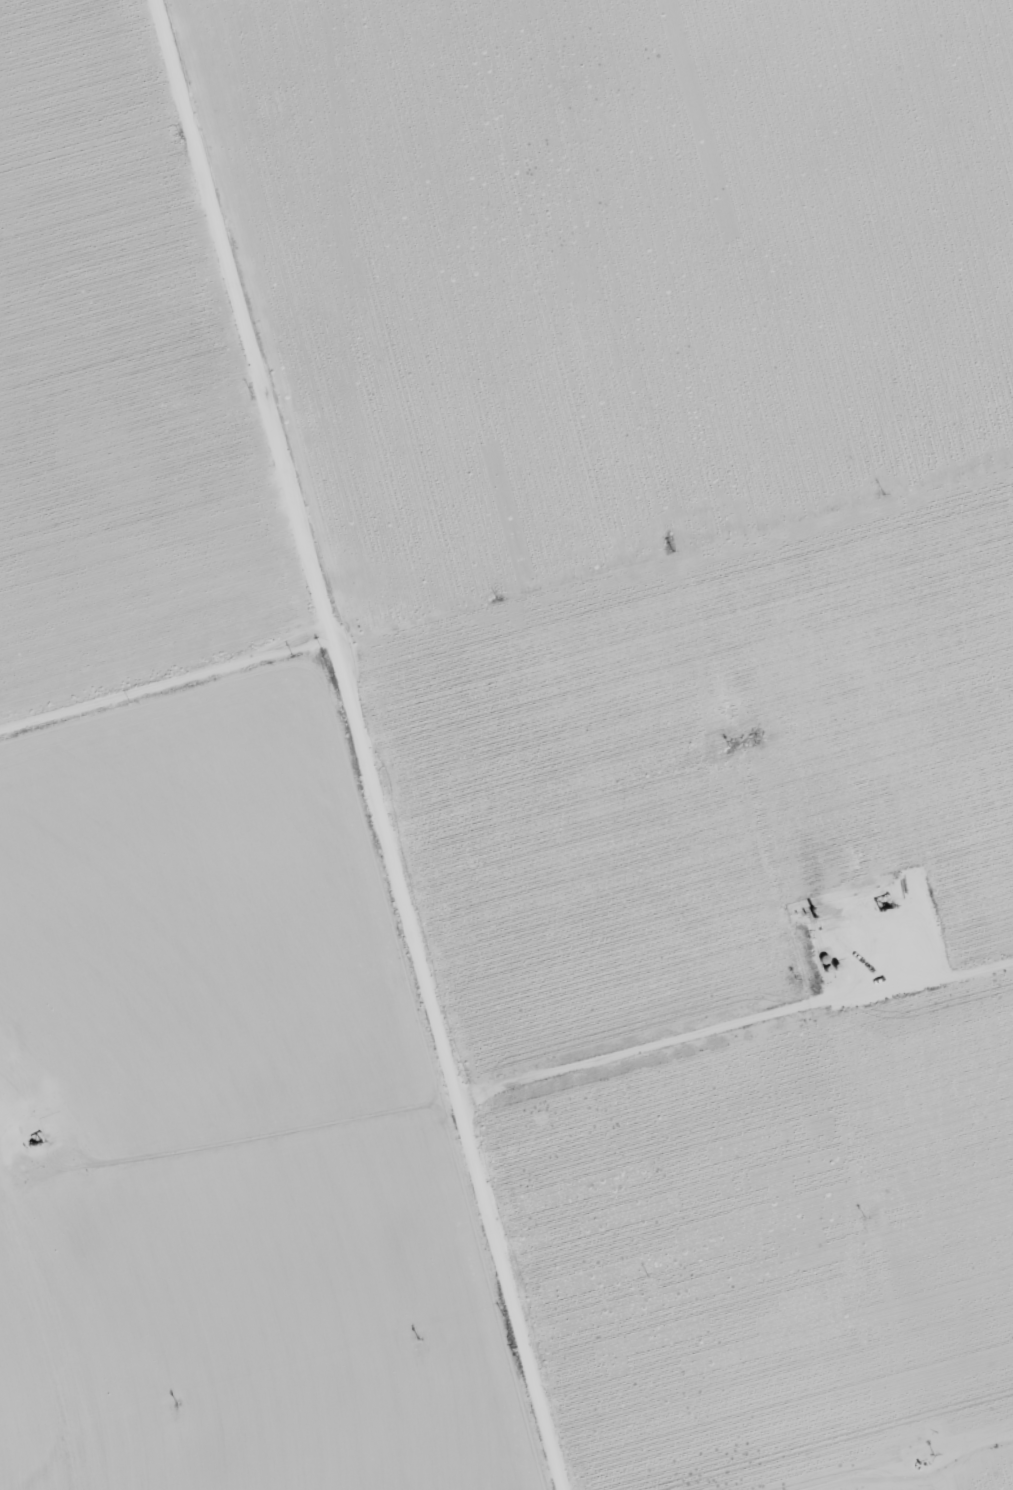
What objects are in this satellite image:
road: (159, 697)
road: (302, 717)
road: (344, 744)

